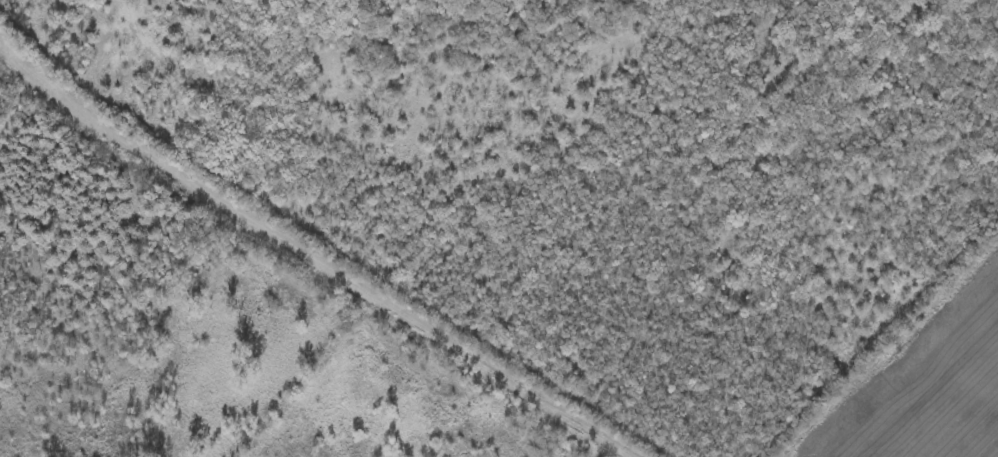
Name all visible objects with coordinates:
road: (120, 136)
road: (438, 336)
crop: (926, 384)

